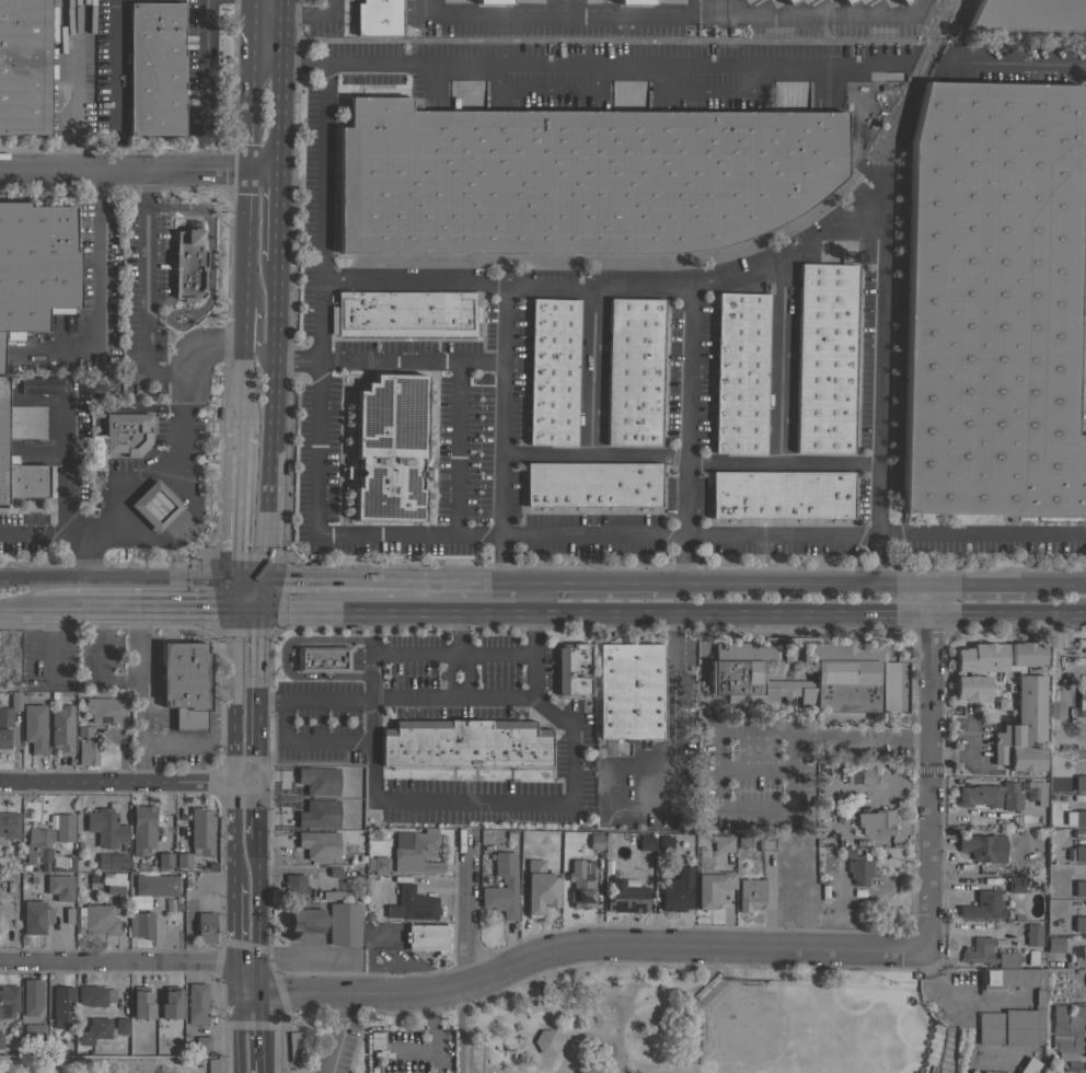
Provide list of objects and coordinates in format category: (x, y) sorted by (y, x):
building: (493, 1)
building: (634, 1)
building: (787, 1)
building: (845, 1)
building: (902, 1)
road: (249, 7)
road: (279, 8)
road: (325, 8)
road: (264, 14)
road: (559, 14)
building: (1029, 14)
road: (302, 15)
road: (812, 15)
building: (378, 18)
road: (203, 64)
building: (24, 67)
road: (1010, 67)
building: (154, 68)
road: (860, 68)
road: (115, 84)
road: (276, 92)
road: (319, 143)
road: (855, 149)
road: (244, 160)
road: (137, 169)
building: (574, 177)
road: (273, 216)
road: (794, 253)
building: (35, 264)
road: (96, 265)
building: (187, 265)
road: (369, 279)
road: (616, 288)
road: (145, 289)
building: (992, 302)
building: (405, 313)
road: (241, 318)
road: (252, 345)
building: (824, 358)
road: (781, 359)
road: (385, 360)
road: (590, 369)
building: (552, 371)
building: (634, 371)
building: (740, 373)
road: (239, 377)
building: (39, 388)
road: (267, 422)
building: (126, 432)
road: (178, 435)
building: (389, 448)
road: (453, 449)
road: (592, 451)
road: (779, 461)
building: (18, 465)
building: (592, 485)
road: (65, 492)
building: (781, 495)
road: (235, 504)
building: (155, 506)
road: (178, 530)
road: (42, 531)
road: (319, 532)
road: (590, 535)
road: (981, 536)
road: (497, 561)
road: (877, 561)
road: (117, 577)
traffic signals: (235, 581)
road: (247, 581)
traffic signals: (261, 582)
road: (378, 584)
road: (502, 585)
road: (519, 585)
road: (591, 585)
road: (765, 585)
road: (905, 586)
road: (978, 586)
road: (1053, 586)
road: (234, 595)
road: (259, 595)
road: (530, 599)
road: (933, 599)
road: (34, 605)
road: (151, 605)
traffic signals: (234, 608)
road: (246, 608)
traffic signals: (259, 608)
road: (357, 612)
road: (730, 612)
road: (1009, 612)
road: (493, 613)
road: (530, 634)
road: (455, 638)
building: (7, 643)
road: (100, 644)
road: (137, 644)
building: (787, 649)
road: (429, 657)
building: (321, 659)
road: (233, 662)
building: (975, 668)
building: (571, 669)
road: (530, 677)
road: (101, 682)
building: (185, 684)
road: (458, 684)
building: (801, 688)
building: (629, 691)
road: (257, 692)
road: (458, 692)
road: (393, 699)
building: (1081, 701)
road: (1060, 704)
building: (10, 709)
building: (105, 709)
building: (1024, 713)
road: (185, 717)
road: (678, 723)
road: (233, 725)
building: (33, 727)
building: (61, 729)
road: (762, 730)
building: (4, 738)
road: (187, 741)
road: (307, 741)
building: (464, 743)
road: (120, 750)
building: (86, 753)
road: (972, 753)
road: (232, 755)
building: (863, 775)
road: (244, 778)
road: (116, 780)
road: (929, 782)
building: (1079, 783)
building: (322, 786)
building: (1036, 792)
building: (990, 795)
road: (482, 803)
road: (255, 809)
building: (316, 816)
building: (1079, 818)
building: (874, 822)
building: (9, 826)
building: (62, 827)
building: (106, 829)
building: (142, 829)
building: (200, 830)
road: (232, 830)
building: (594, 841)
building: (645, 843)
building: (663, 843)
building: (723, 843)
building: (765, 843)
building: (316, 846)
building: (982, 846)
building: (46, 852)
building: (415, 852)
building: (1079, 853)
building: (183, 859)
building: (164, 861)
building: (112, 862)
building: (377, 864)
building: (857, 867)
building: (335, 872)
building: (509, 881)
building: (114, 882)
building: (154, 884)
building: (293, 884)
building: (580, 884)
building: (1015, 885)
building: (59, 887)
building: (539, 888)
building: (713, 888)
building: (1079, 888)
building: (677, 891)
building: (340, 895)
building: (749, 895)
building: (625, 897)
road: (255, 899)
building: (409, 904)
building: (983, 905)
road: (464, 909)
building: (34, 916)
building: (96, 919)
road: (233, 920)
building: (305, 921)
building: (140, 924)
building: (344, 924)
building: (1079, 924)
building: (206, 927)
building: (1031, 934)
building: (426, 937)
building: (1054, 944)
road: (587, 946)
building: (987, 954)
building: (1033, 957)
traffic signals: (234, 958)
road: (244, 958)
traffic signals: (255, 958)
building: (1079, 958)
road: (117, 959)
road: (234, 974)
road: (245, 974)
road: (255, 974)
building: (1012, 978)
building: (1085, 987)
traffic signals: (234, 991)
road: (245, 991)
traffic signals: (256, 992)
building: (94, 995)
building: (31, 996)
building: (8, 1000)
building: (196, 1003)
building: (139, 1004)
building: (169, 1004)
road: (541, 1005)
building: (62, 1007)
road: (234, 1012)
building: (1067, 1019)
park: (708, 1023)
building: (120, 1025)
building: (1012, 1025)
building: (139, 1027)
building: (94, 1030)
building: (34, 1031)
road: (458, 1031)
road: (258, 1032)
road: (332, 1034)
building: (160, 1036)
road: (558, 1037)
building: (1, 1040)
road: (593, 1040)
building: (545, 1041)
building: (203, 1043)
building: (55, 1045)
building: (293, 1046)
building: (1065, 1046)
building: (1085, 1047)
road: (234, 1053)
road: (515, 1053)
building: (211, 1065)
building: (1028, 1065)
building: (1073, 1066)
building: (993, 1072)
building: (1079, 1072)

